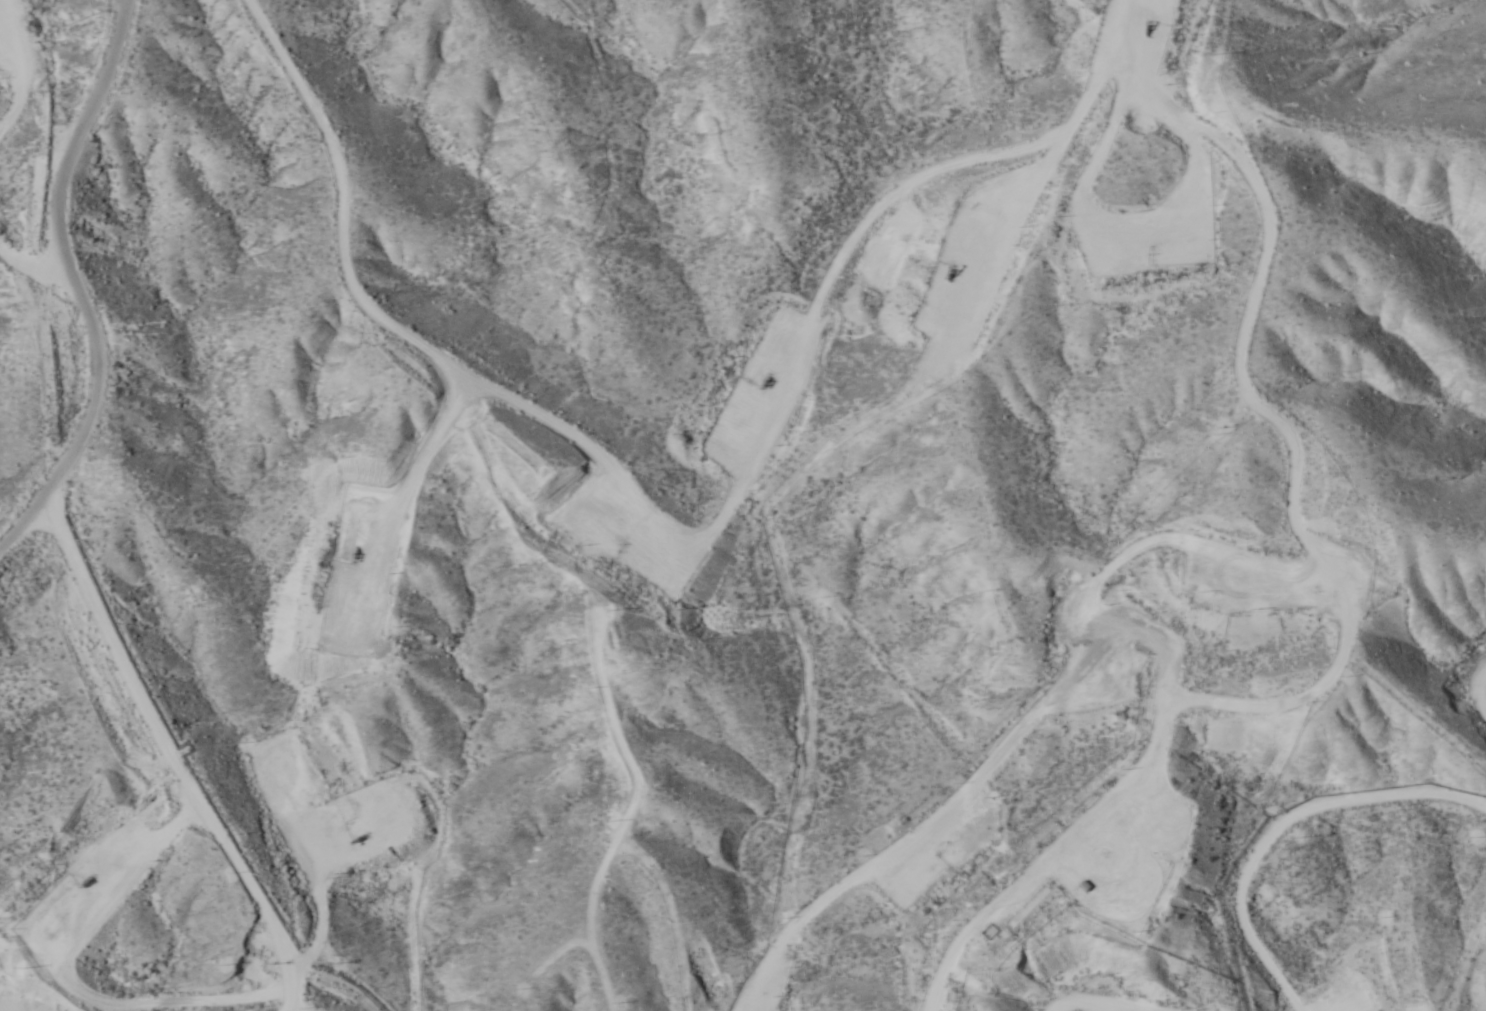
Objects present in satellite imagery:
road: (90, 273)
road: (166, 763)
building: (1063, 872)
building: (912, 954)

